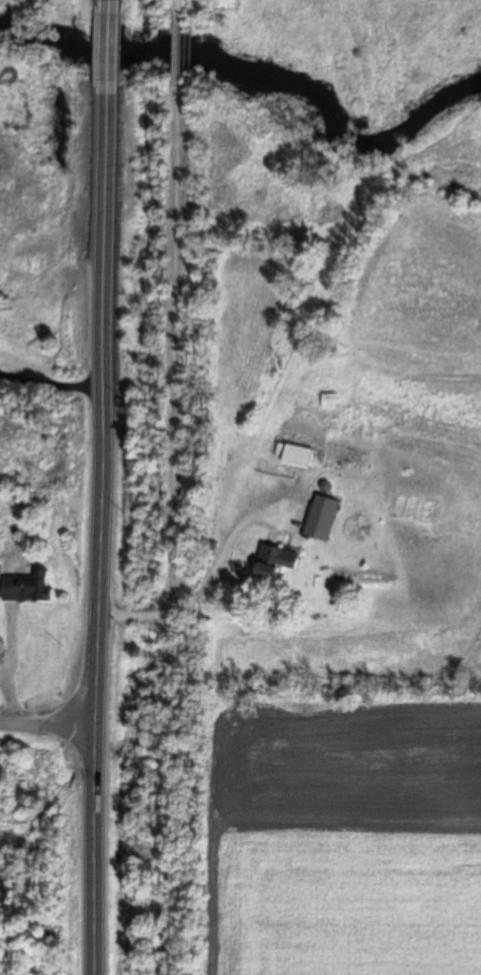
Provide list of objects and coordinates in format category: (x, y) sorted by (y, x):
road: (108, 5)
road: (178, 10)
road: (178, 53)
road: (108, 54)
river: (265, 78)
building: (300, 455)
building: (324, 516)
road: (177, 530)
road: (99, 536)
building: (276, 561)
building: (28, 586)
road: (48, 721)

